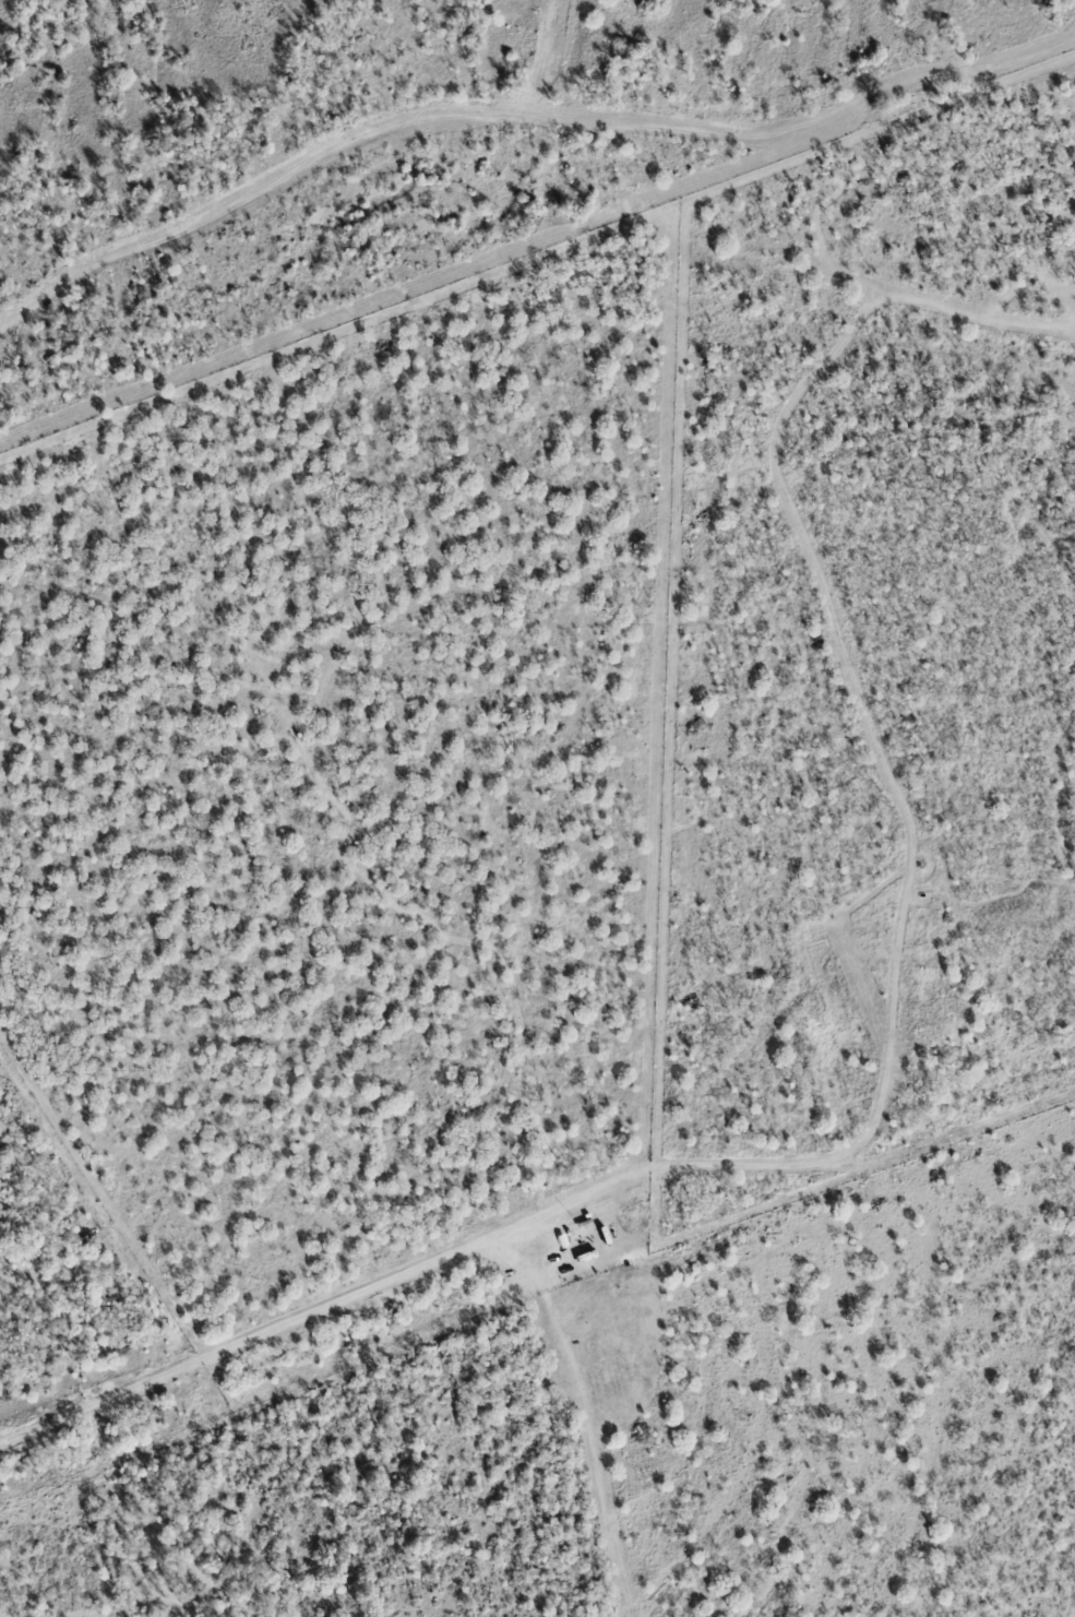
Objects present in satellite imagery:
road: (519, 1223)
building: (563, 1241)

